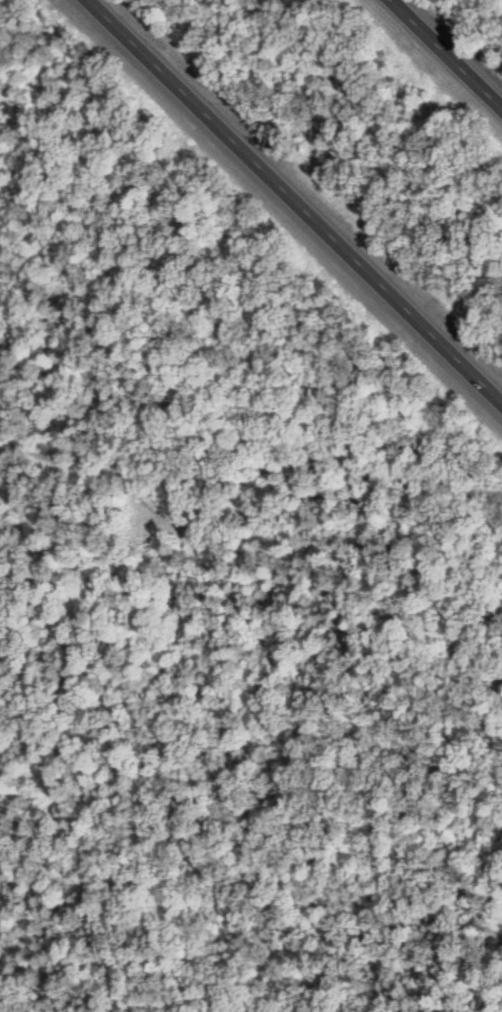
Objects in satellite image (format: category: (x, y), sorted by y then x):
road: (453, 47)
road: (303, 194)
road: (84, 343)
road: (168, 677)
road: (250, 882)

